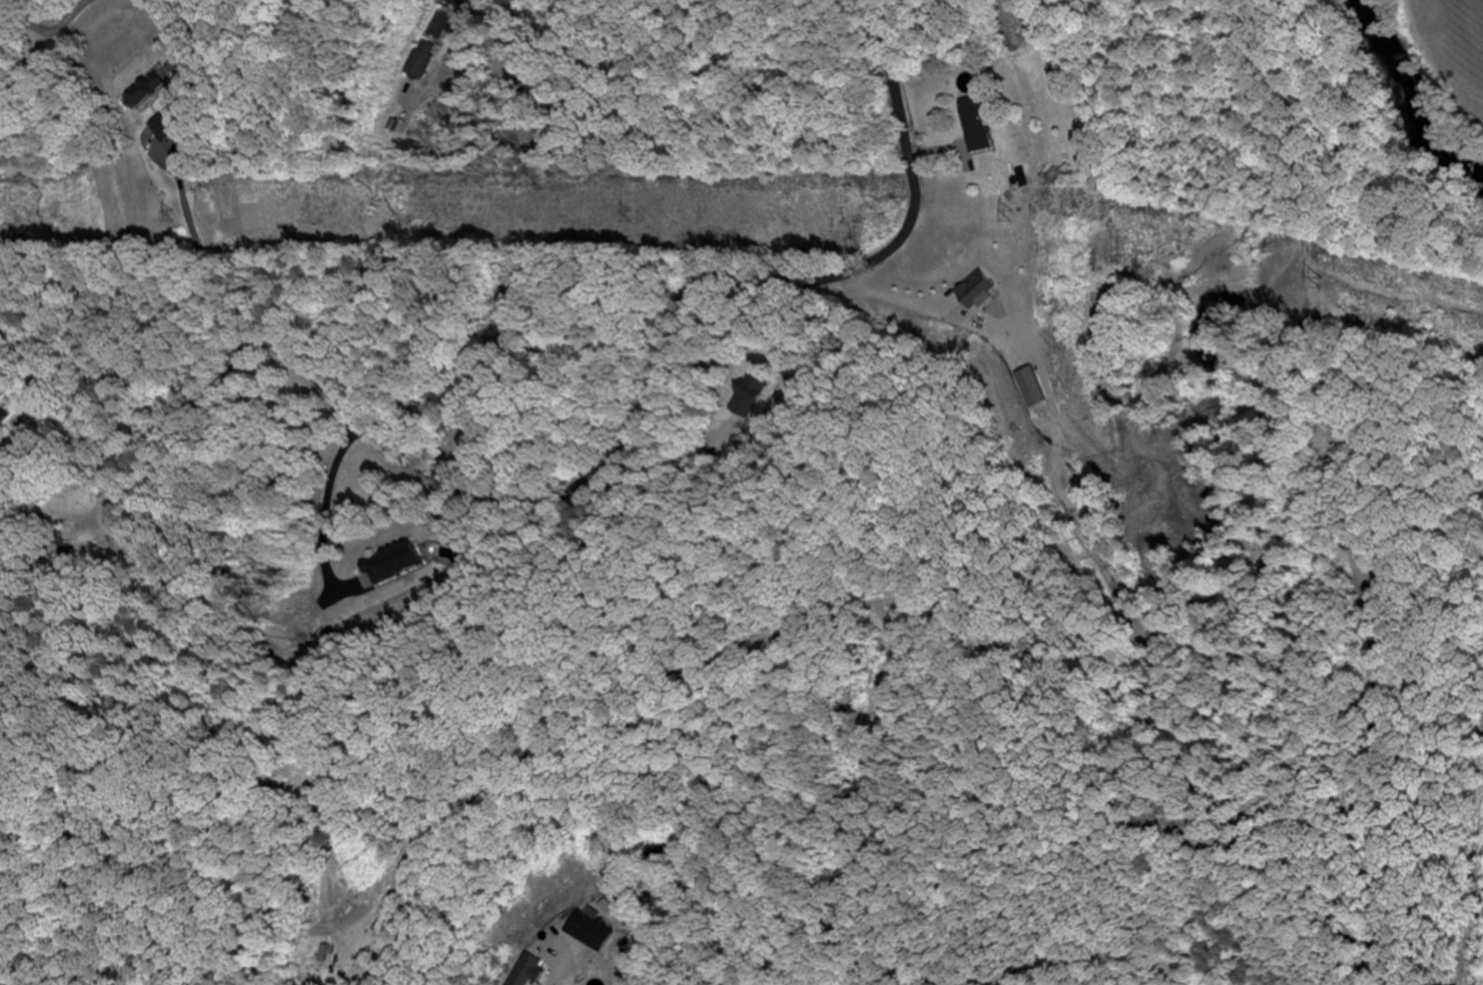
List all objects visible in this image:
building: (455, 2)
building: (420, 60)
building: (144, 91)
building: (976, 126)
building: (741, 405)
building: (3, 415)
road: (568, 491)
building: (391, 562)
building: (532, 970)

